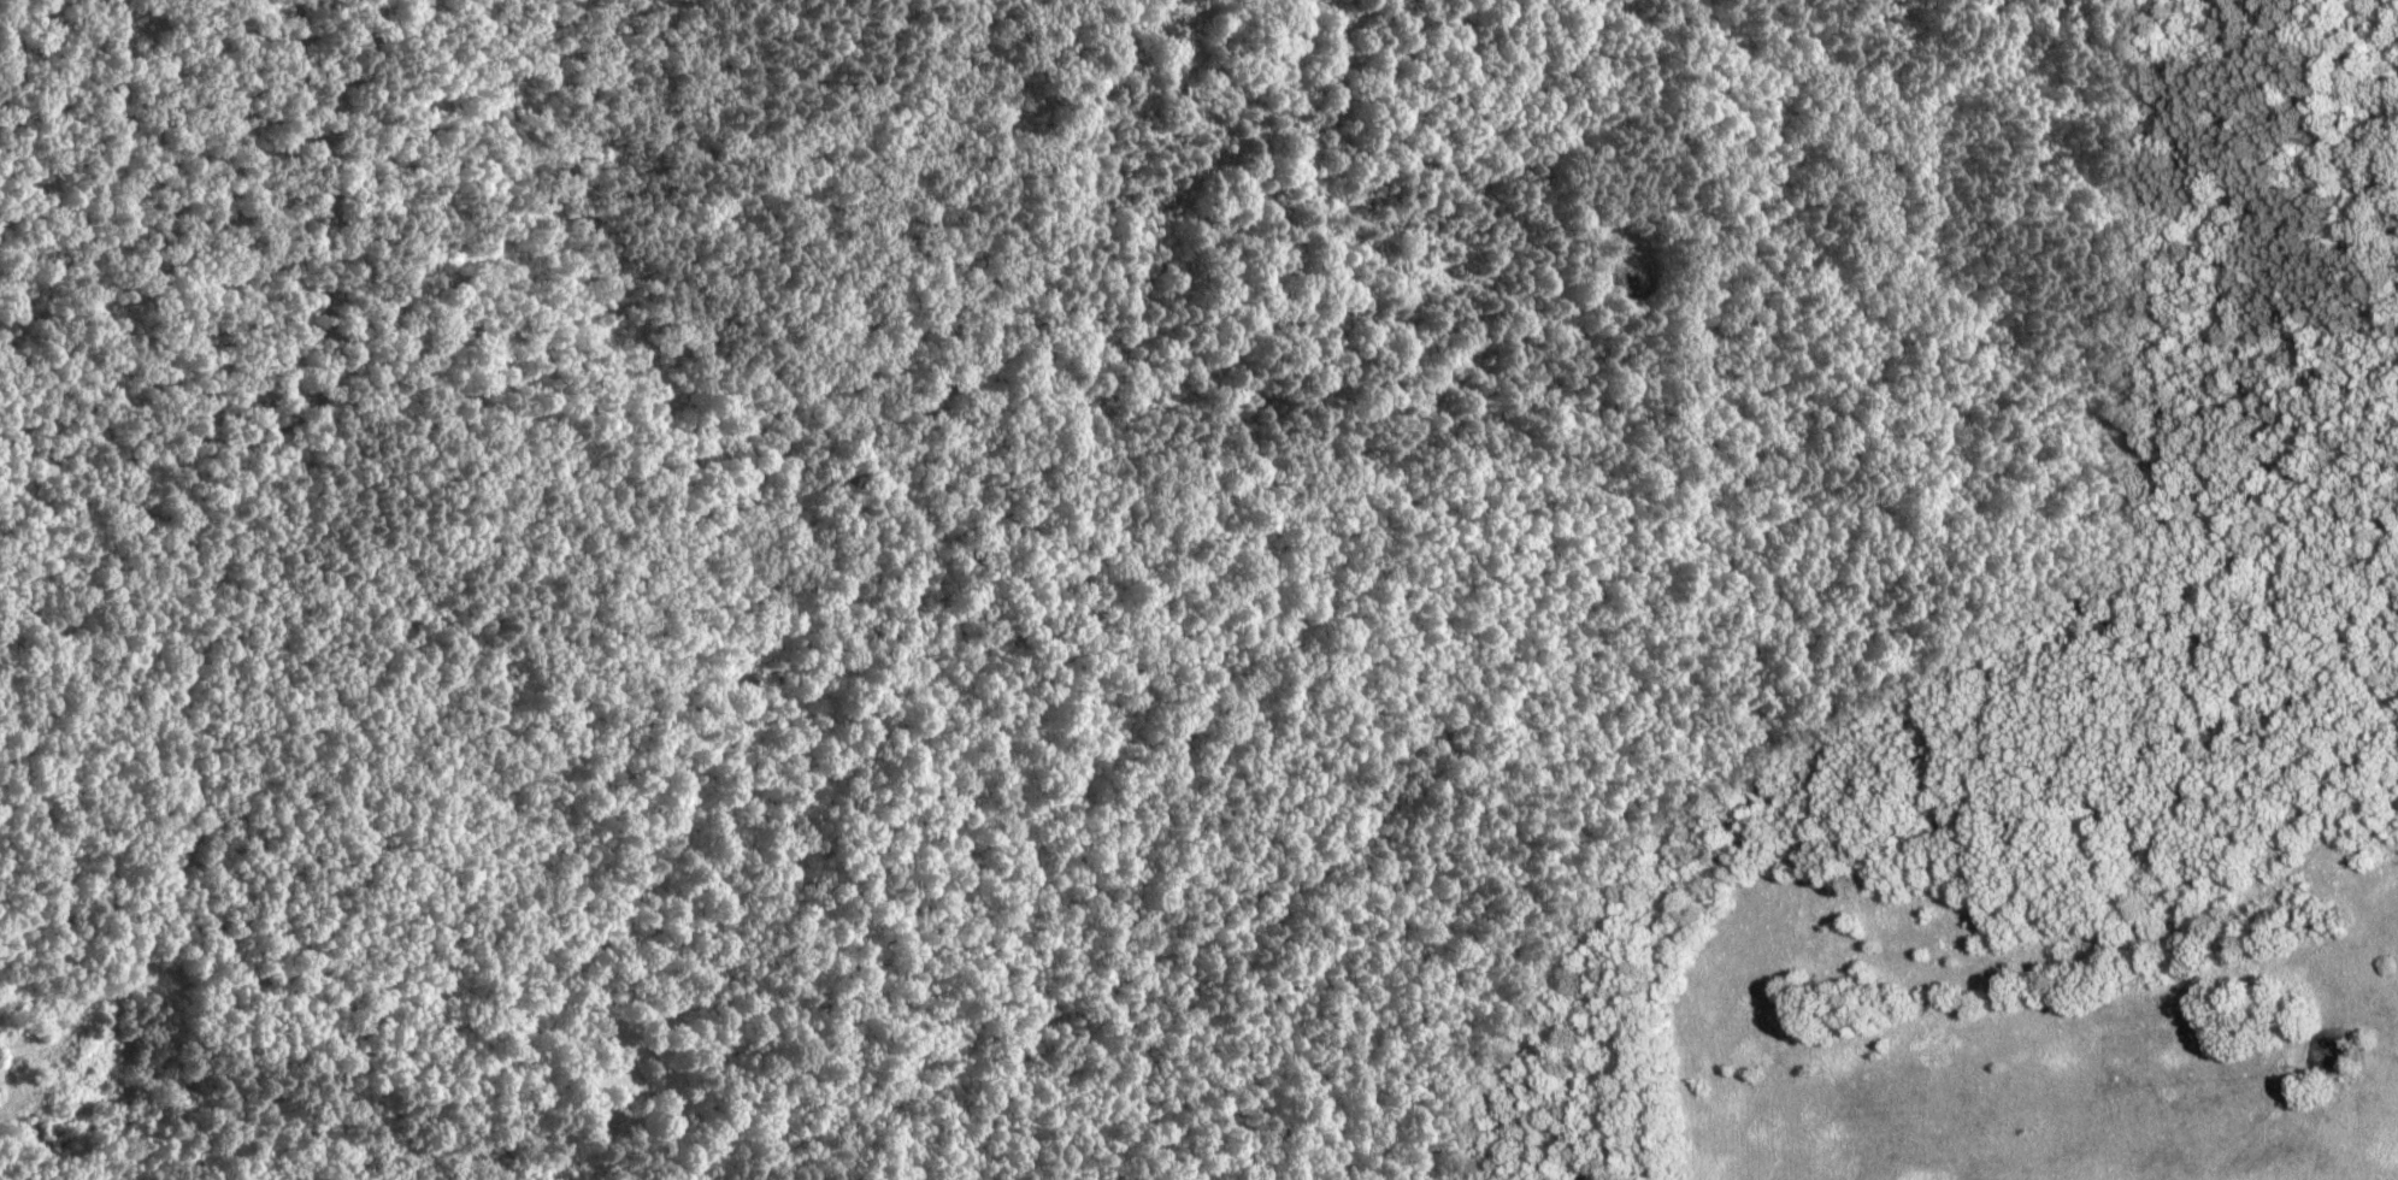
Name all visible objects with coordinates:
road: (494, 232)

